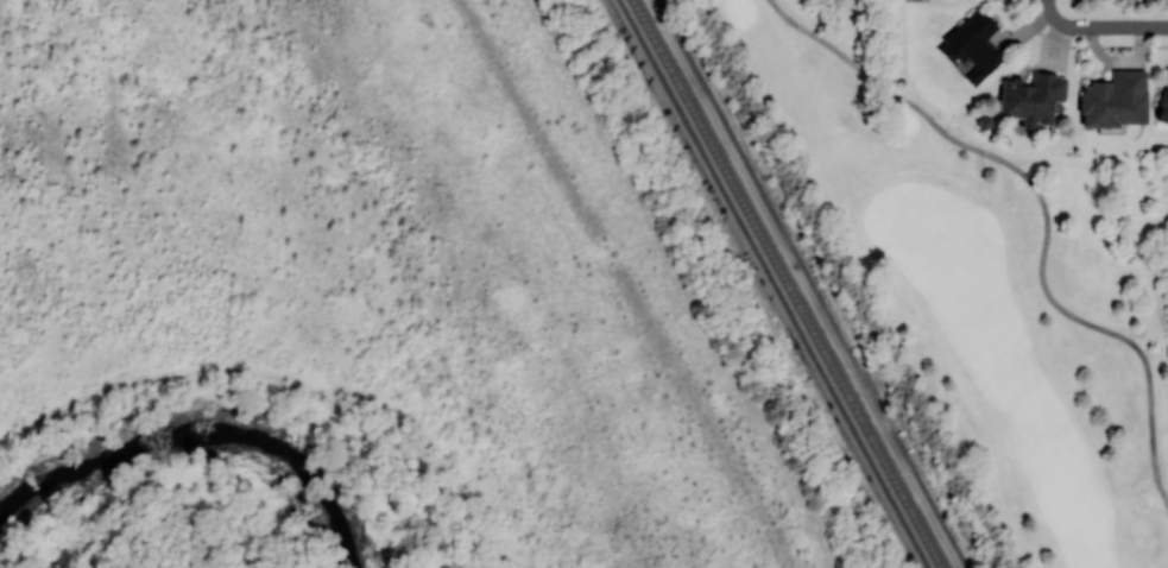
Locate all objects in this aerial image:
road: (1100, 26)
building: (972, 45)
building: (1030, 97)
building: (1115, 100)
building: (1162, 105)
road: (1044, 212)
park: (960, 246)
park: (974, 282)
road: (680, 284)
railway: (772, 284)
railway: (788, 284)
river: (207, 430)
road: (176, 534)

